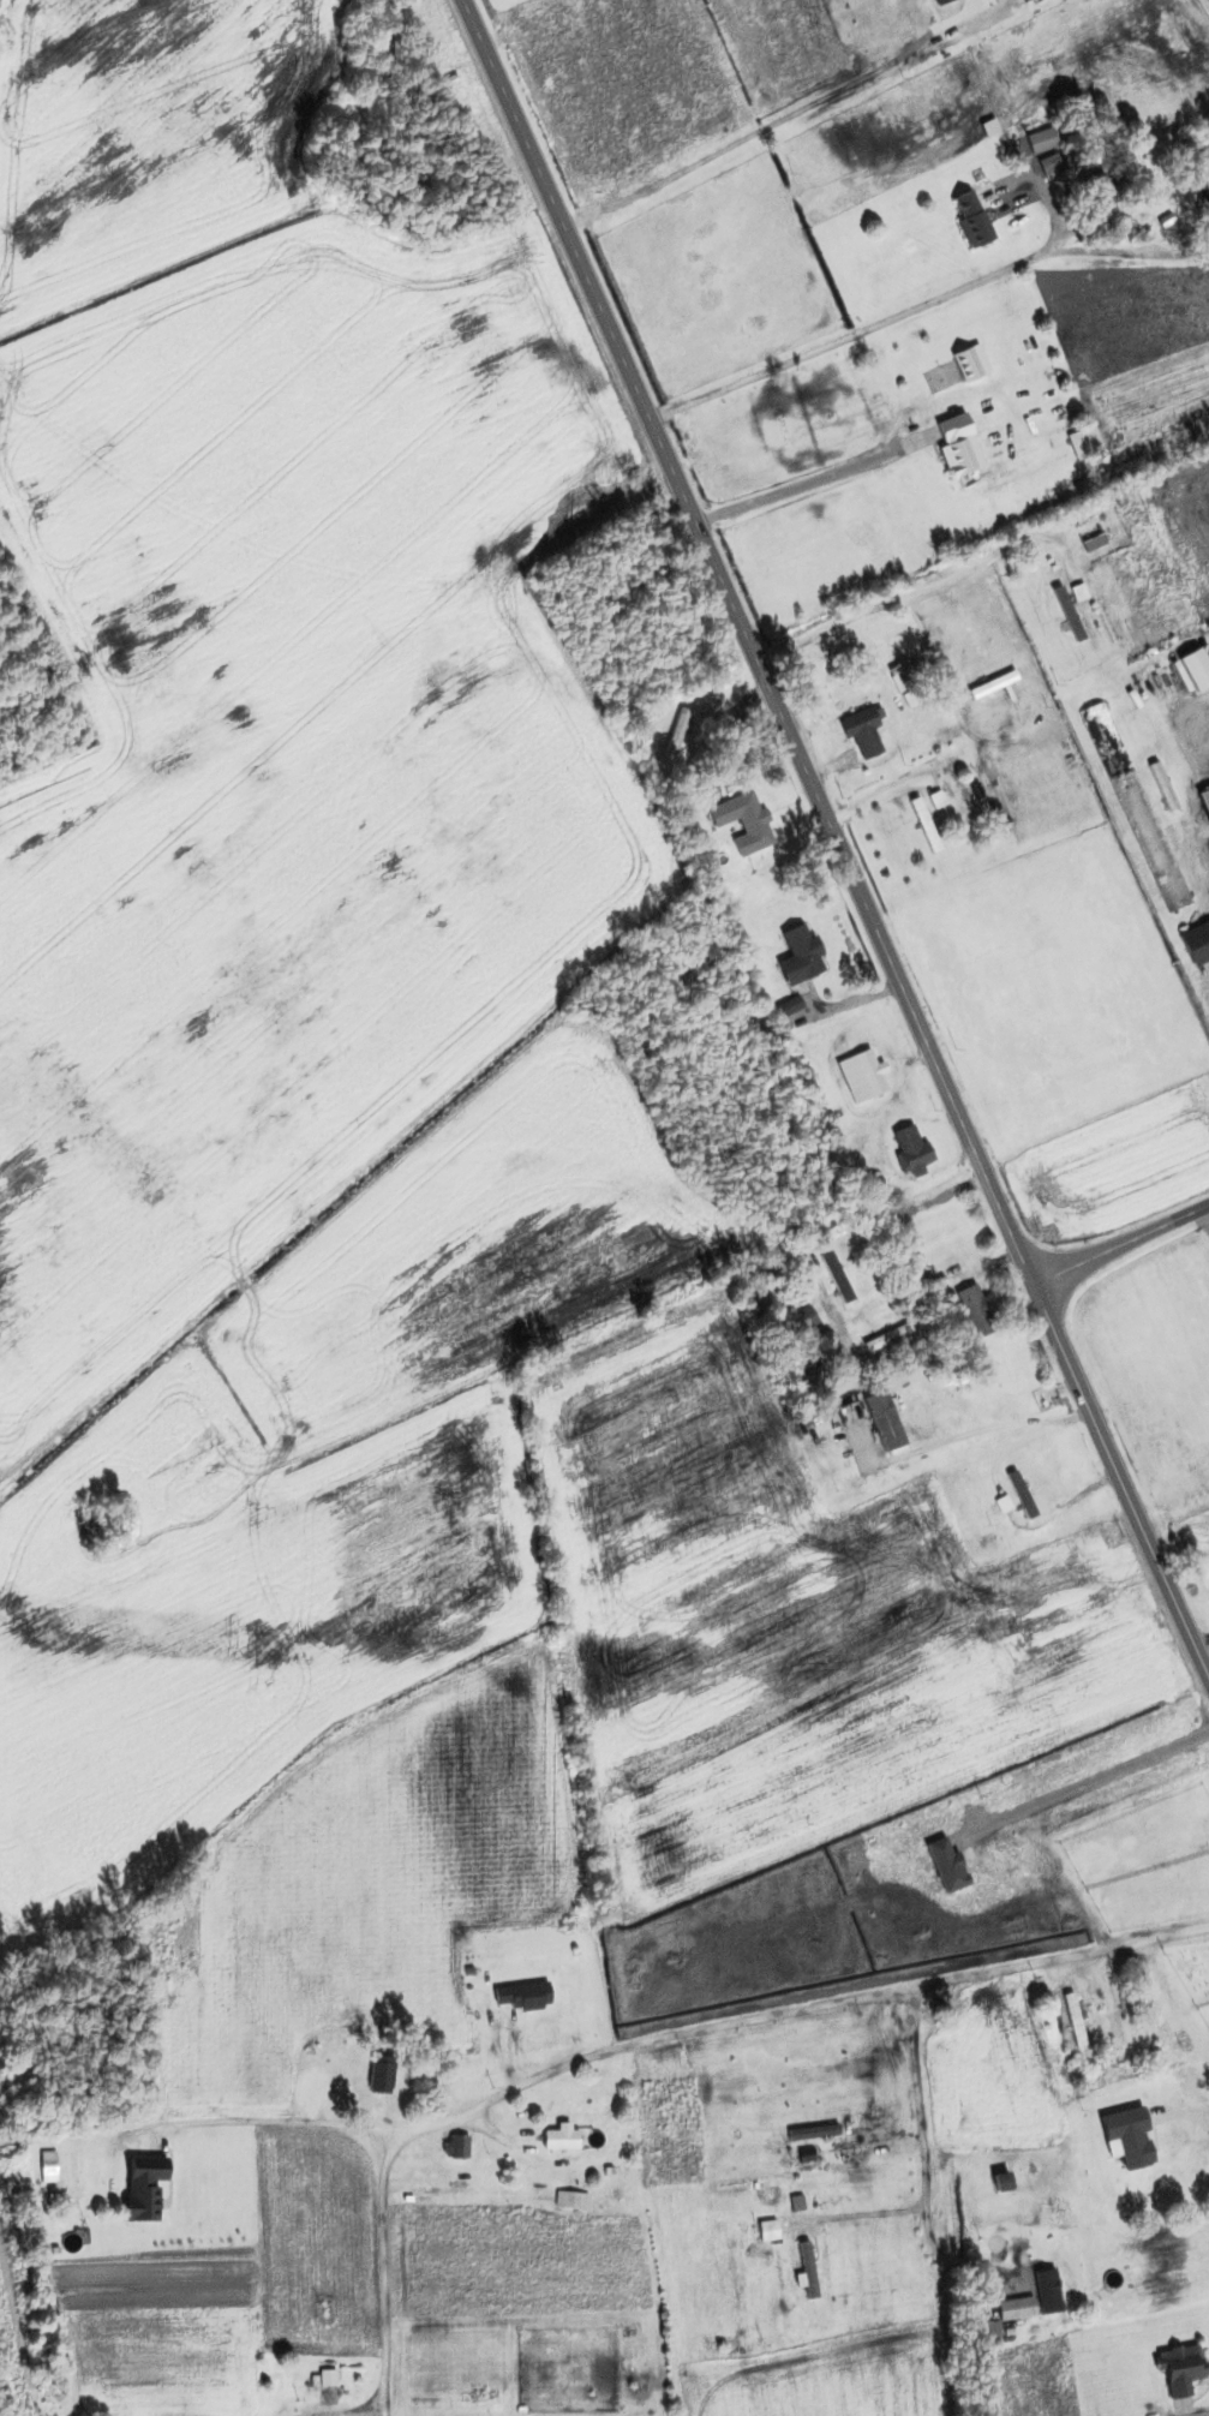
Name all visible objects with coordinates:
building: (1105, 197)
building: (971, 217)
road: (862, 325)
building: (970, 363)
building: (959, 449)
building: (1069, 615)
building: (906, 684)
building: (862, 731)
building: (677, 735)
building: (1162, 785)
building: (1133, 805)
building: (743, 821)
building: (924, 821)
road: (836, 839)
building: (1197, 943)
building: (801, 955)
building: (788, 1007)
building: (870, 1077)
building: (911, 1148)
road: (1120, 1245)
building: (838, 1278)
building: (977, 1311)
building: (802, 1318)
building: (887, 1338)
building: (884, 1421)
building: (164, 1922)
building: (519, 1999)
building: (1069, 2013)
road: (627, 2045)
building: (381, 2075)
building: (1193, 2080)
building: (559, 2136)
building: (455, 2147)
building: (1135, 2148)
building: (616, 2178)
building: (1006, 2183)
building: (143, 2188)
building: (808, 2268)
road: (382, 2271)
building: (1025, 2279)
building: (1183, 2368)
road: (357, 2412)

